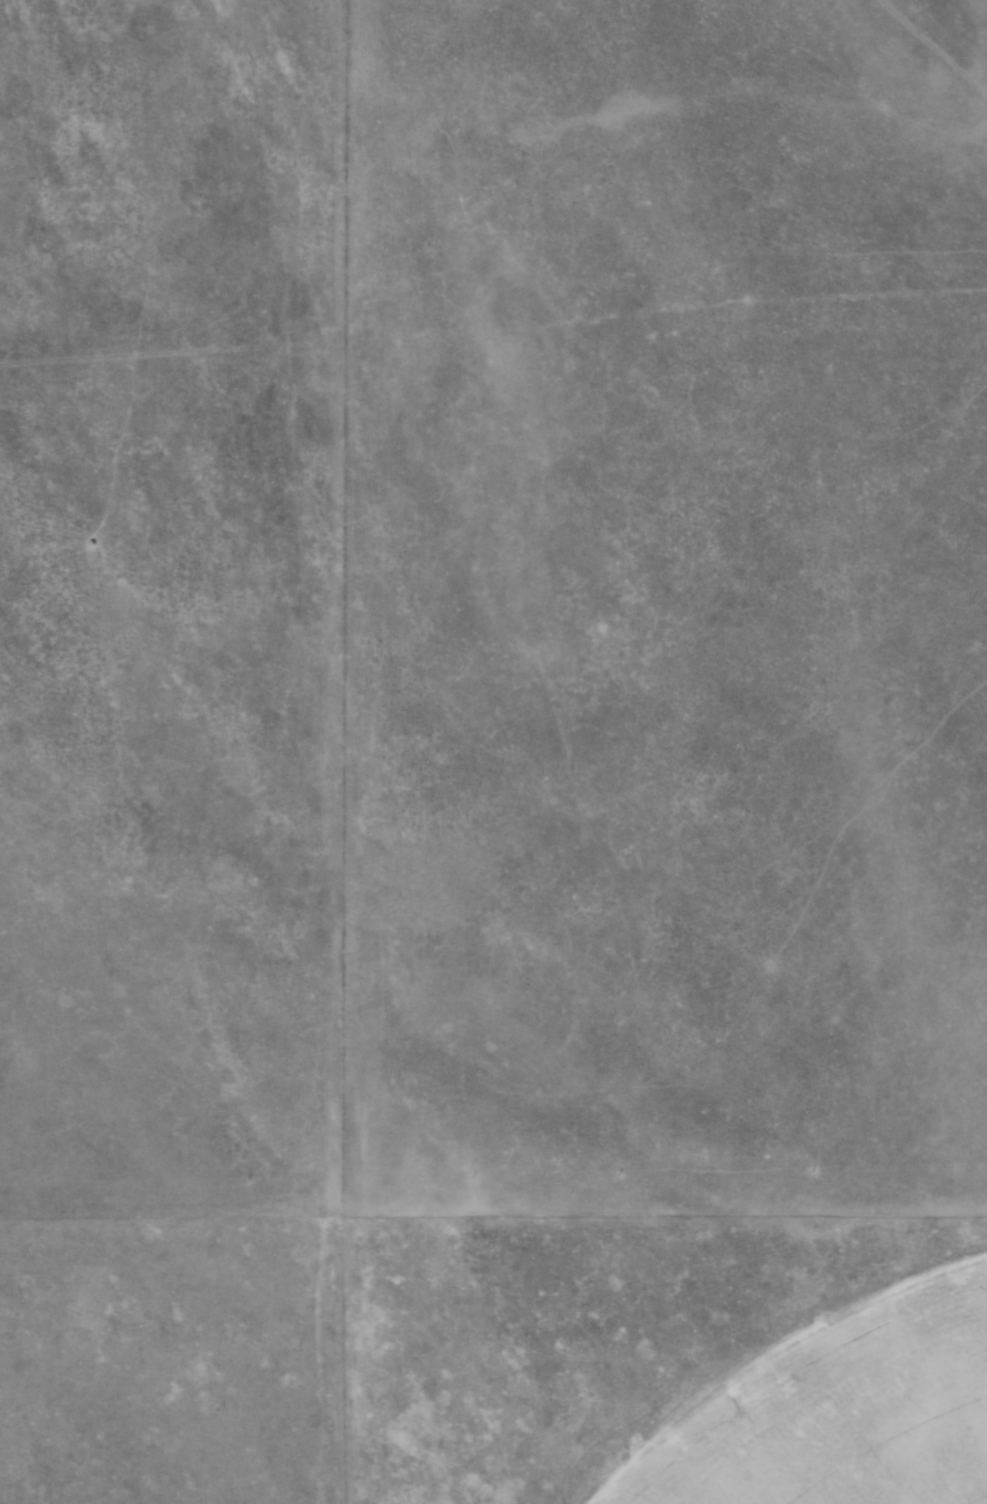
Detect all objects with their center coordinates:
crop: (840, 1413)

